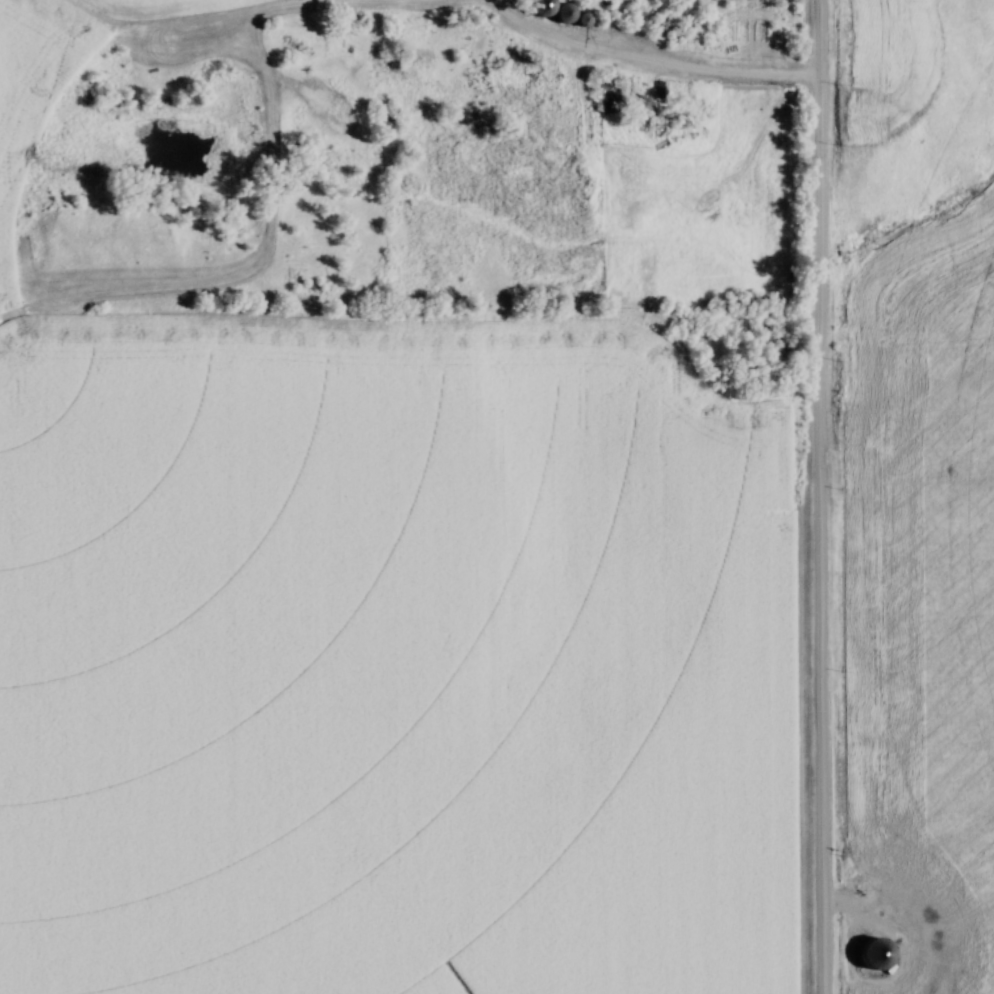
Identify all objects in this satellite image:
building: (532, 6)
building: (557, 12)
building: (733, 15)
building: (655, 26)
road: (641, 56)
building: (634, 87)
building: (596, 94)
building: (647, 127)
road: (814, 496)
building: (869, 954)

